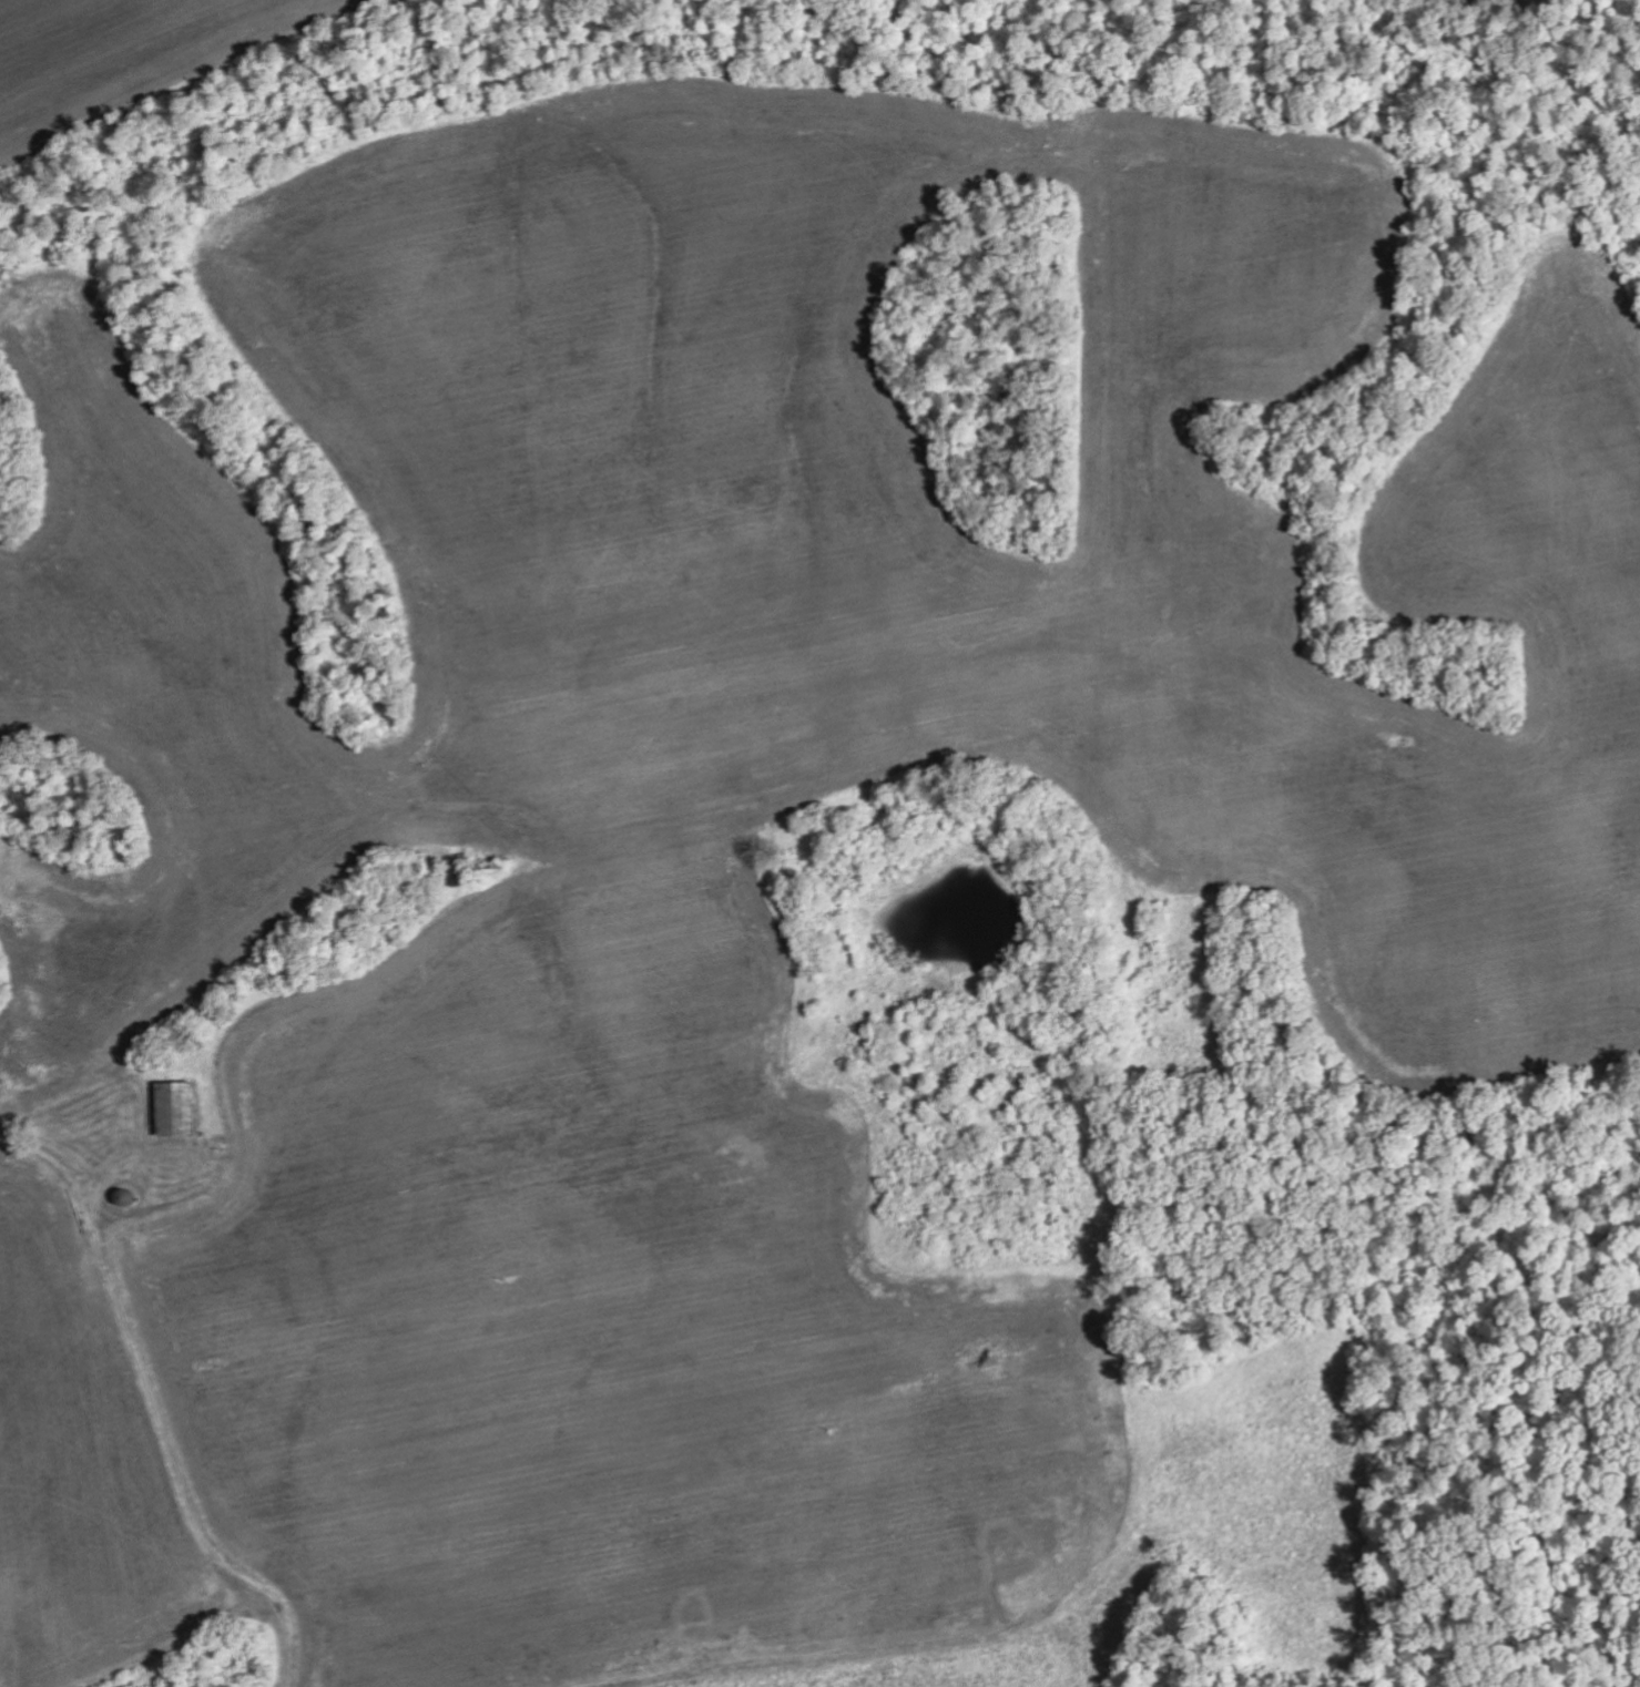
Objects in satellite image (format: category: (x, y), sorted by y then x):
road: (58, 1168)
road: (166, 1442)

